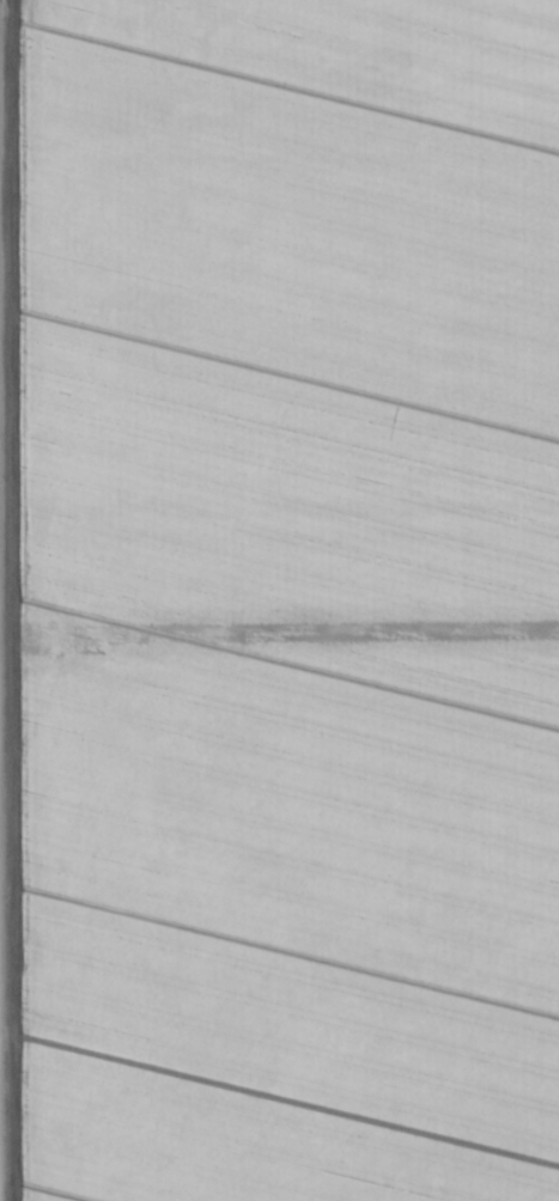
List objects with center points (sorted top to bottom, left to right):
crop: (279, 600)

